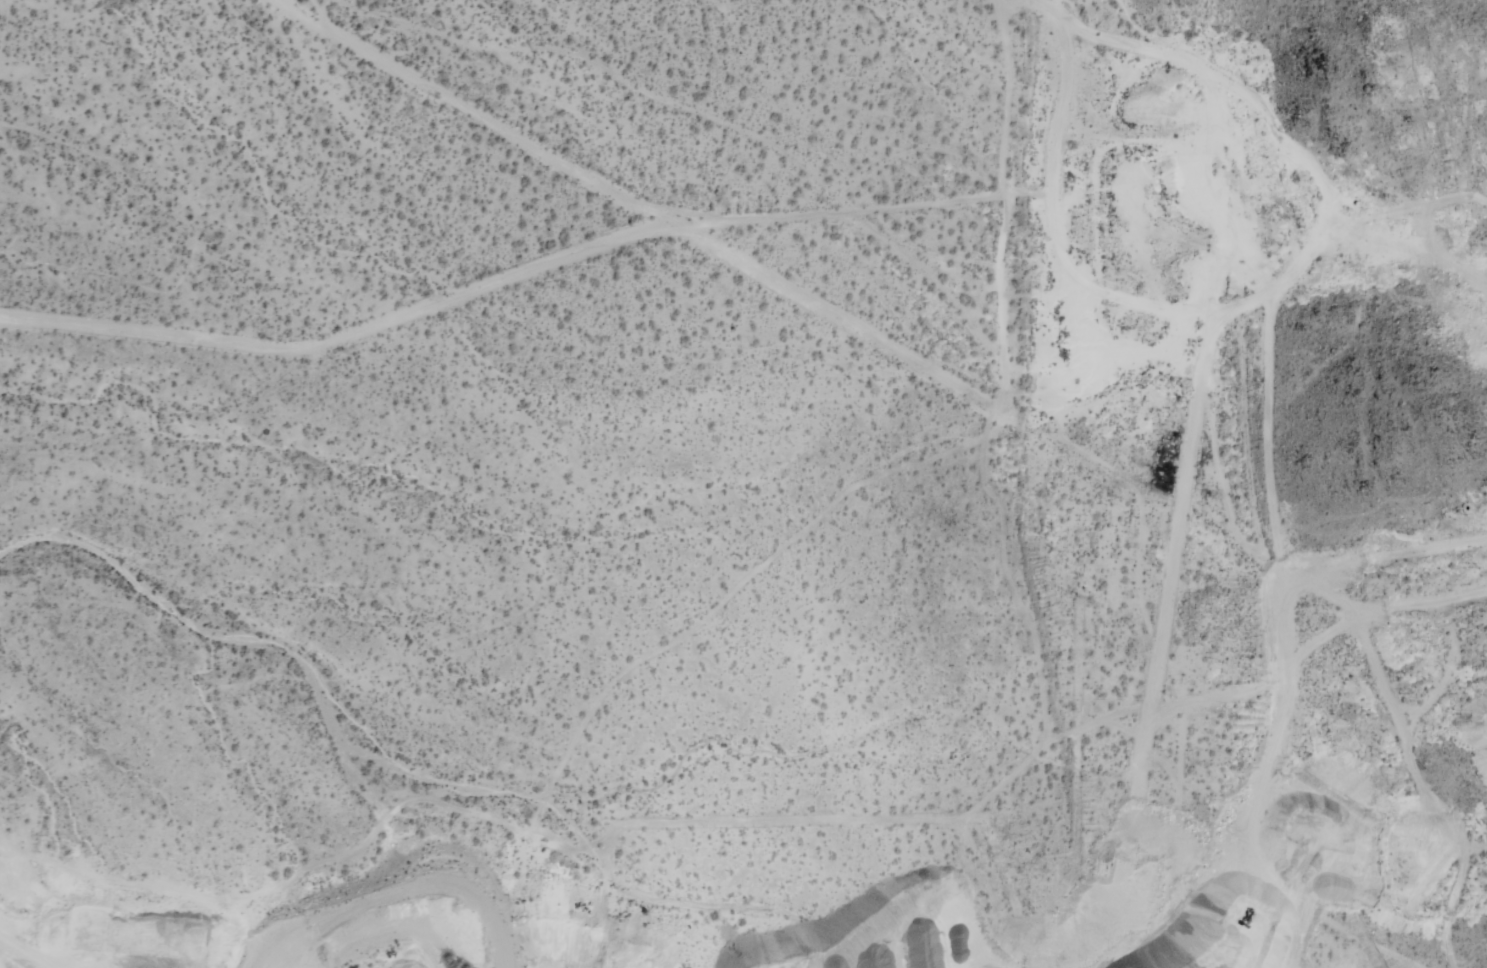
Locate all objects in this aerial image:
road: (1038, 98)
road: (642, 207)
road: (343, 338)
quarry: (1137, 562)

